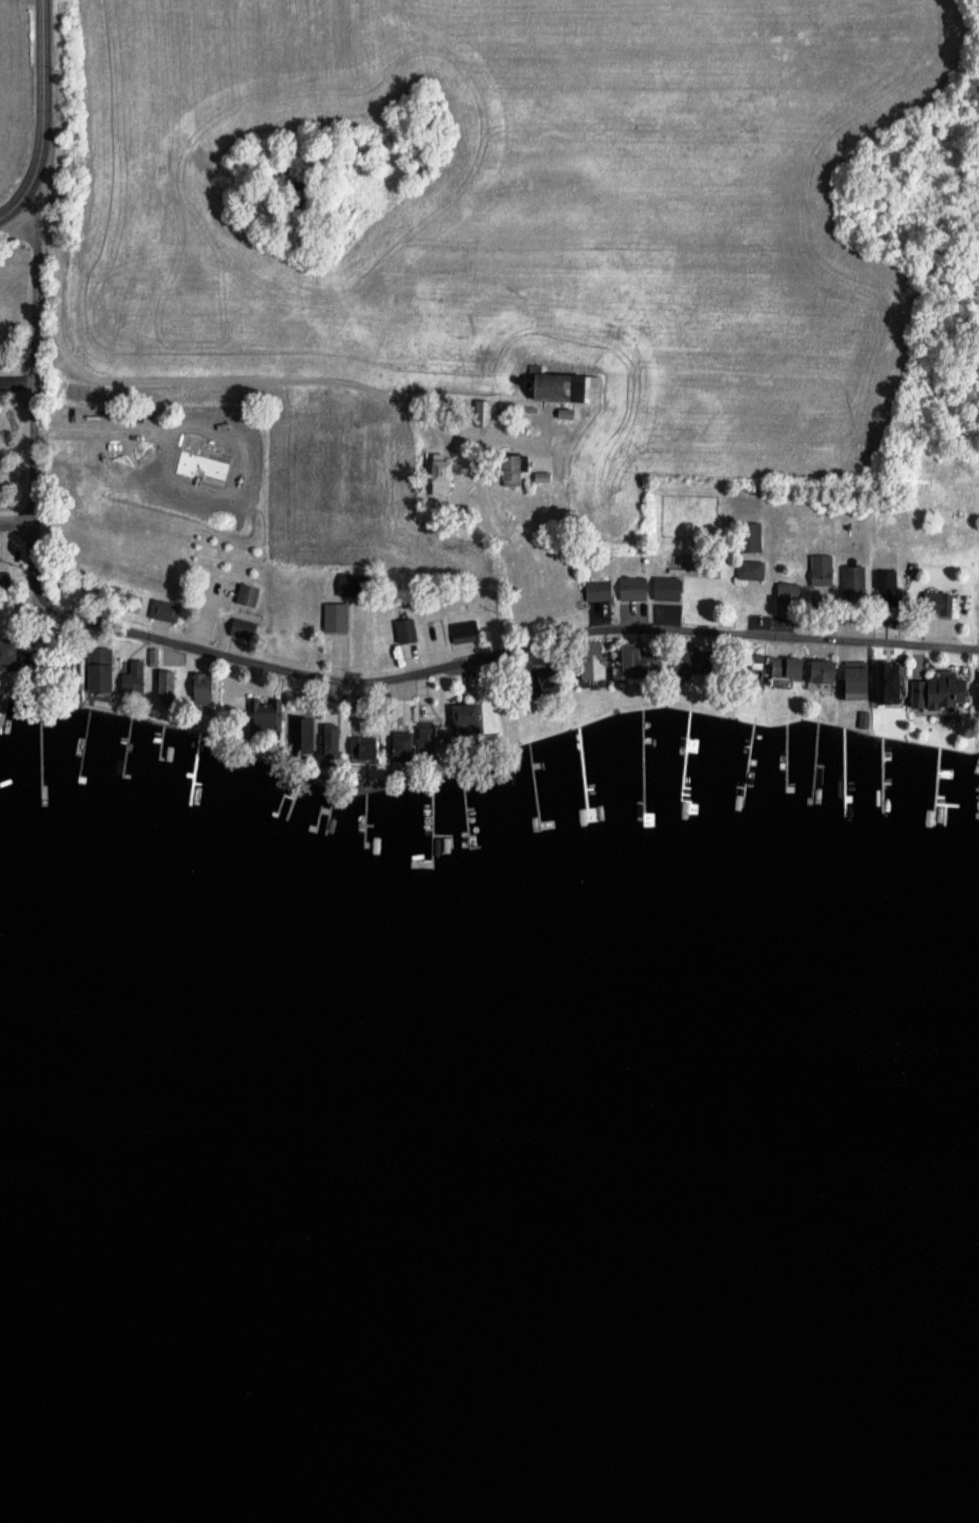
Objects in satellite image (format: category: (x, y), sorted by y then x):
road: (38, 116)
road: (35, 364)
building: (561, 387)
building: (479, 412)
building: (510, 468)
building: (436, 470)
building: (435, 489)
road: (15, 530)
building: (748, 535)
building: (749, 568)
building: (819, 569)
building: (888, 586)
building: (631, 587)
building: (663, 587)
building: (594, 591)
building: (785, 591)
building: (244, 594)
building: (935, 602)
building: (162, 609)
building: (334, 616)
building: (237, 627)
building: (403, 629)
building: (463, 631)
building: (6, 656)
building: (152, 656)
building: (683, 659)
building: (588, 660)
building: (628, 660)
road: (464, 664)
building: (782, 666)
building: (95, 669)
building: (818, 670)
building: (132, 675)
building: (746, 676)
building: (849, 678)
building: (881, 681)
building: (164, 683)
building: (199, 688)
building: (977, 691)
building: (260, 715)
building: (463, 718)
building: (862, 718)
building: (300, 730)
building: (327, 738)
building: (424, 738)
building: (398, 746)
building: (362, 747)

